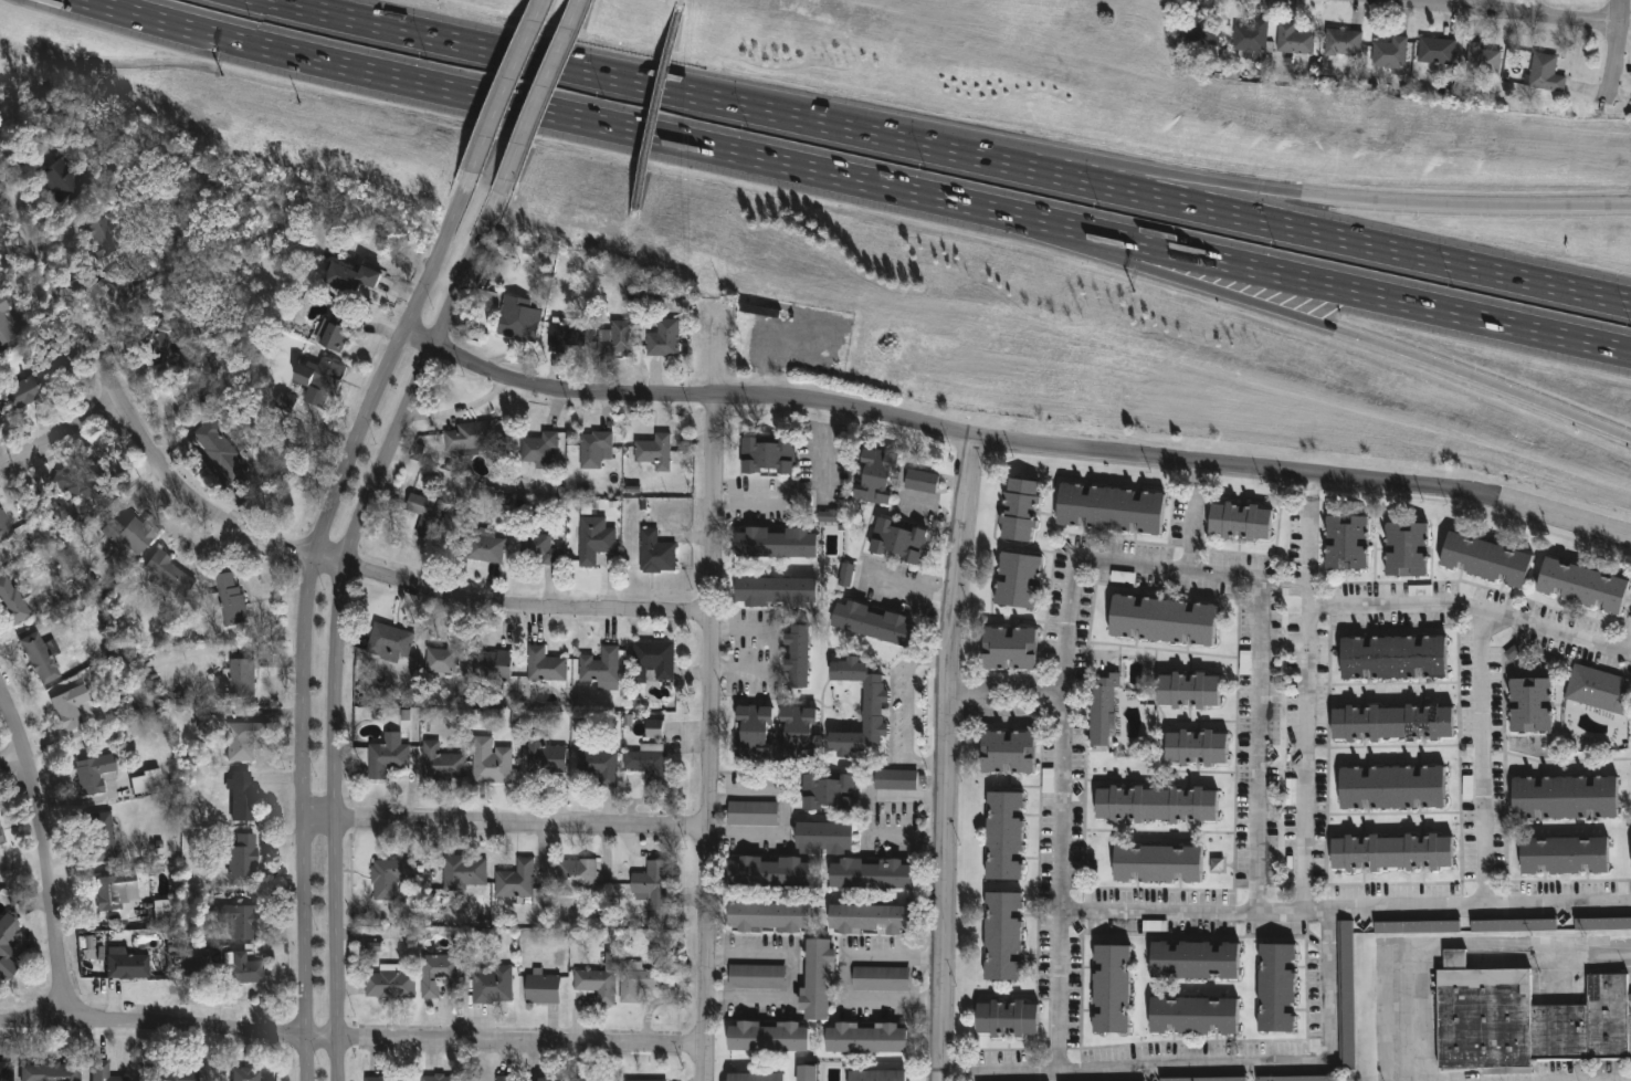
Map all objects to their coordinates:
road: (579, 3)
road: (1490, 12)
building: (1199, 27)
building: (1249, 35)
building: (1291, 39)
building: (1340, 41)
building: (1434, 50)
road: (1617, 51)
building: (1389, 54)
road: (527, 55)
building: (1481, 57)
building: (1543, 73)
road: (508, 85)
road: (543, 94)
road: (480, 97)
road: (1010, 149)
building: (67, 180)
road: (1434, 204)
road: (1206, 208)
building: (113, 238)
road: (1055, 240)
road: (1255, 269)
building: (358, 276)
building: (127, 291)
building: (522, 321)
building: (7, 325)
building: (340, 330)
building: (565, 335)
building: (164, 338)
building: (617, 338)
building: (662, 338)
road: (1433, 361)
building: (324, 384)
building: (25, 389)
building: (285, 403)
building: (474, 437)
road: (60, 438)
road: (1011, 442)
building: (543, 447)
building: (222, 449)
road: (823, 450)
building: (597, 451)
building: (652, 451)
building: (765, 456)
building: (874, 475)
building: (922, 481)
building: (82, 484)
building: (1109, 508)
building: (1018, 510)
building: (429, 515)
building: (828, 516)
building: (1240, 521)
building: (6, 524)
building: (135, 535)
building: (897, 540)
building: (596, 543)
building: (775, 543)
building: (1348, 543)
road: (270, 544)
building: (488, 548)
building: (543, 548)
building: (1408, 549)
building: (653, 553)
road: (1084, 557)
building: (1485, 559)
building: (171, 574)
building: (846, 575)
building: (1017, 580)
building: (1582, 585)
road: (904, 587)
building: (776, 590)
building: (15, 600)
building: (232, 600)
road: (1471, 609)
road: (305, 610)
road: (337, 613)
building: (1162, 620)
building: (872, 623)
road: (1627, 634)
building: (392, 643)
building: (1009, 649)
road: (770, 650)
building: (42, 657)
building: (797, 657)
road: (928, 657)
building: (1393, 658)
building: (446, 659)
building: (651, 660)
building: (496, 665)
building: (548, 665)
building: (601, 668)
building: (243, 678)
road: (1000, 688)
building: (1599, 690)
building: (1188, 691)
road: (1305, 693)
road: (906, 705)
building: (1532, 705)
building: (73, 706)
building: (1103, 709)
building: (872, 713)
road: (1001, 715)
building: (1395, 723)
building: (797, 725)
building: (654, 728)
building: (754, 730)
road: (706, 737)
building: (246, 739)
building: (1196, 748)
building: (1007, 753)
building: (390, 756)
road: (941, 758)
road: (923, 759)
road: (1484, 759)
road: (14, 763)
building: (444, 763)
building: (494, 763)
building: (548, 763)
building: (645, 763)
building: (601, 765)
building: (97, 773)
building: (150, 780)
building: (896, 780)
building: (1392, 789)
building: (828, 791)
building: (245, 796)
building: (1565, 799)
building: (1156, 805)
building: (754, 812)
road: (785, 815)
road: (504, 823)
road: (883, 833)
building: (3, 835)
building: (1002, 836)
building: (103, 837)
building: (823, 838)
building: (1395, 853)
building: (243, 854)
road: (50, 856)
building: (1565, 856)
building: (1157, 864)
building: (467, 874)
building: (869, 874)
building: (578, 875)
building: (768, 875)
building: (390, 879)
building: (519, 880)
building: (118, 891)
building: (652, 892)
building: (161, 907)
road: (1347, 910)
building: (768, 916)
building: (870, 919)
building: (241, 920)
building: (1602, 924)
building: (1514, 925)
building: (1417, 927)
building: (1001, 937)
road: (1459, 942)
building: (8, 946)
building: (1195, 962)
building: (129, 964)
building: (199, 965)
building: (242, 969)
building: (440, 973)
road: (793, 976)
building: (758, 977)
road: (844, 977)
building: (817, 979)
building: (882, 979)
building: (638, 980)
building: (393, 984)
building: (495, 985)
building: (600, 985)
building: (546, 988)
building: (1275, 989)
building: (1111, 990)
building: (1346, 996)
building: (1192, 1017)
building: (1006, 1019)
building: (1523, 1020)
building: (766, 1038)
road: (351, 1039)
building: (864, 1039)
road: (1229, 1066)
building: (8, 1071)
building: (55, 1071)
building: (107, 1071)
building: (180, 1073)
building: (249, 1073)
building: (808, 1073)
parking lot: (1558, 1073)
building: (876, 1075)
building: (754, 1077)
building: (393, 1078)
building: (444, 1078)
building: (506, 1078)
building: (557, 1079)
building: (585, 1079)
building: (1208, 1079)
building: (1297, 1079)
building: (652, 1080)
building: (1124, 1080)

